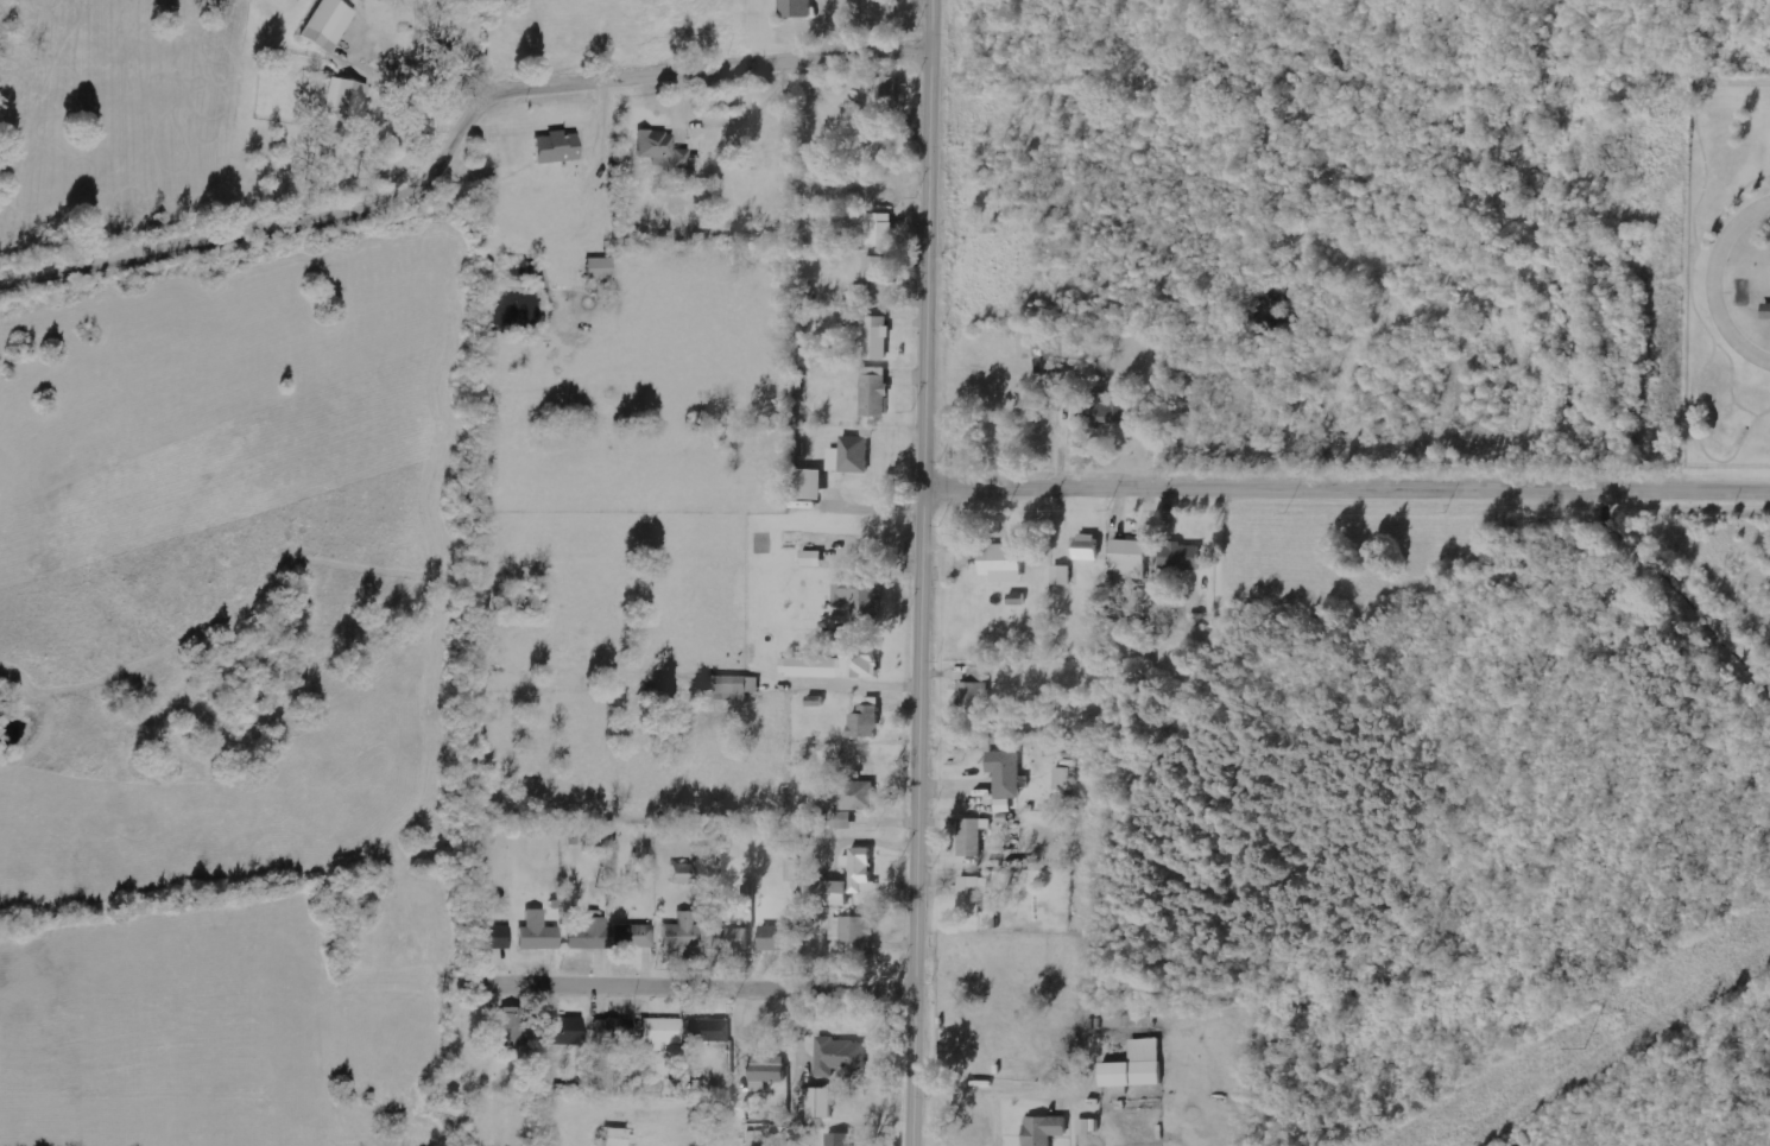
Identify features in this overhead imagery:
building: (798, 8)
building: (330, 24)
road: (927, 26)
building: (885, 93)
building: (348, 97)
road: (460, 140)
building: (663, 148)
building: (562, 151)
building: (881, 228)
building: (602, 268)
building: (878, 276)
road: (1711, 280)
building: (1764, 310)
building: (878, 337)
building: (1048, 356)
building: (875, 391)
building: (1113, 411)
building: (852, 455)
building: (811, 485)
road: (1346, 494)
building: (1088, 546)
building: (1182, 557)
building: (815, 558)
building: (1132, 559)
building: (1005, 563)
building: (1062, 575)
building: (861, 597)
road: (919, 600)
building: (837, 665)
building: (734, 688)
building: (974, 688)
building: (868, 718)
building: (1007, 772)
building: (1062, 779)
building: (859, 796)
building: (845, 819)
building: (973, 836)
building: (794, 870)
building: (864, 873)
building: (683, 874)
building: (973, 895)
building: (852, 929)
building: (539, 933)
building: (589, 935)
building: (682, 935)
building: (634, 937)
building: (493, 938)
building: (777, 938)
building: (731, 939)
road: (691, 990)
building: (1130, 1021)
building: (513, 1031)
building: (569, 1031)
building: (614, 1031)
building: (709, 1031)
building: (660, 1033)
building: (840, 1055)
building: (1138, 1065)
building: (769, 1071)
building: (818, 1101)
building: (1089, 1127)
building: (1047, 1129)
building: (621, 1138)
building: (839, 1139)

